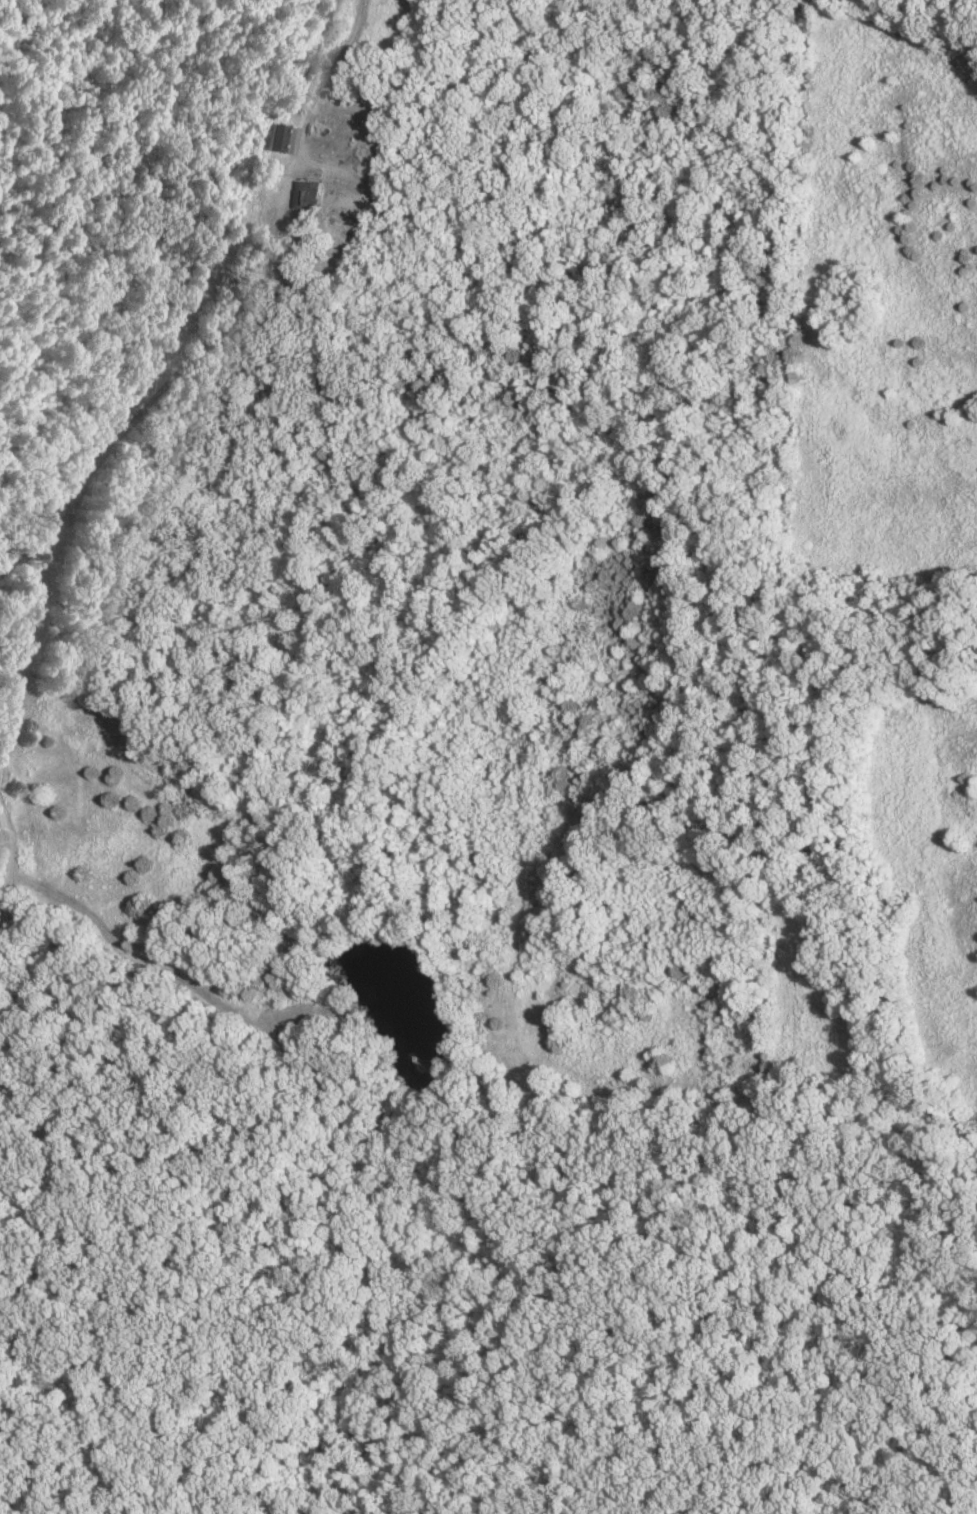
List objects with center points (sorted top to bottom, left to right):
building: (281, 129)
building: (307, 194)
road: (8, 883)

